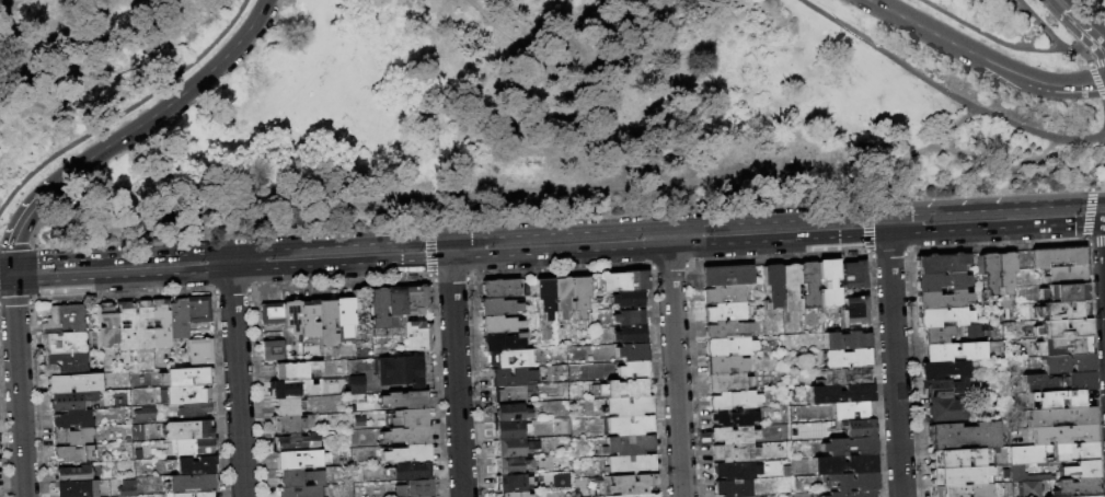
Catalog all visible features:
road: (7, 2)
road: (1094, 7)
road: (1063, 8)
road: (1087, 23)
road: (1089, 31)
road: (988, 36)
road: (1054, 37)
road: (947, 41)
road: (1097, 65)
road: (1096, 82)
road: (1101, 83)
road: (1061, 86)
road: (944, 90)
road: (45, 91)
road: (125, 109)
park: (527, 111)
road: (1104, 111)
road: (134, 130)
road: (987, 130)
road: (1098, 188)
road: (530, 189)
road: (1014, 206)
road: (1089, 215)
road: (686, 224)
road: (886, 224)
road: (888, 235)
road: (668, 236)
road: (449, 248)
road: (229, 250)
building: (1058, 255)
road: (230, 262)
building: (940, 262)
road: (5, 263)
traffic signals: (11, 263)
road: (341, 267)
building: (988, 270)
building: (1004, 270)
road: (11, 274)
building: (853, 274)
building: (1066, 274)
building: (727, 275)
building: (623, 280)
building: (941, 280)
building: (828, 282)
building: (772, 284)
building: (808, 285)
road: (5, 286)
traffic signals: (12, 286)
building: (498, 287)
building: (790, 291)
building: (1063, 291)
building: (578, 293)
building: (724, 293)
building: (544, 296)
building: (561, 296)
building: (626, 298)
building: (942, 298)
building: (416, 300)
building: (395, 303)
building: (497, 305)
building: (378, 308)
building: (198, 309)
building: (855, 309)
building: (1061, 309)
building: (360, 311)
building: (725, 311)
building: (271, 312)
building: (344, 313)
building: (290, 315)
building: (628, 315)
building: (942, 315)
building: (308, 317)
building: (64, 319)
building: (179, 319)
building: (326, 321)
building: (498, 323)
building: (160, 324)
building: (107, 325)
building: (125, 325)
building: (143, 325)
building: (1062, 327)
building: (728, 328)
building: (974, 332)
building: (629, 333)
building: (936, 333)
building: (418, 335)
building: (845, 340)
building: (499, 342)
building: (62, 343)
building: (1063, 345)
building: (730, 346)
building: (200, 350)
building: (273, 350)
building: (631, 350)
building: (954, 350)
building: (509, 358)
building: (847, 358)
building: (1067, 362)
building: (65, 363)
building: (726, 365)
road: (894, 367)
building: (632, 368)
building: (943, 369)
building: (295, 370)
building: (400, 370)
road: (676, 372)
building: (845, 374)
building: (511, 375)
building: (185, 377)
road: (456, 379)
building: (1080, 380)
building: (728, 382)
building: (1039, 382)
building: (72, 383)
building: (355, 384)
road: (237, 385)
building: (622, 388)
building: (937, 388)
building: (290, 389)
road: (18, 391)
building: (841, 393)
building: (187, 394)
building: (509, 394)
building: (1063, 397)
building: (403, 398)
building: (734, 398)
building: (70, 401)
building: (628, 405)
building: (287, 406)
building: (946, 408)
building: (853, 409)
building: (192, 411)
building: (508, 412)
building: (143, 415)
building: (733, 416)
building: (1061, 416)
building: (407, 417)
building: (72, 418)
building: (290, 423)
building: (629, 425)
building: (856, 427)
building: (187, 429)
building: (507, 429)
building: (1063, 432)
building: (405, 435)
building: (735, 435)
building: (964, 435)
building: (72, 436)
building: (298, 441)
building: (629, 444)
building: (514, 446)
building: (849, 446)
building: (194, 447)
building: (1075, 450)
building: (734, 451)
building: (73, 453)
building: (406, 453)
building: (1029, 453)
building: (955, 456)
building: (300, 459)
building: (513, 464)
building: (630, 464)
building: (844, 464)
building: (196, 465)
building: (736, 469)
building: (1081, 469)
building: (410, 470)
building: (73, 473)
building: (958, 474)
building: (1028, 474)
building: (298, 476)
building: (853, 481)
building: (513, 482)
building: (192, 483)
building: (628, 484)
building: (1078, 486)
building: (733, 487)
building: (74, 488)
building: (127, 488)
building: (414, 488)
building: (1031, 488)
building: (960, 489)
building: (298, 492)
building: (202, 494)
building: (514, 494)
building: (852, 494)
building: (179, 495)
building: (632, 495)
building: (747, 496)
building: (1084, 496)

